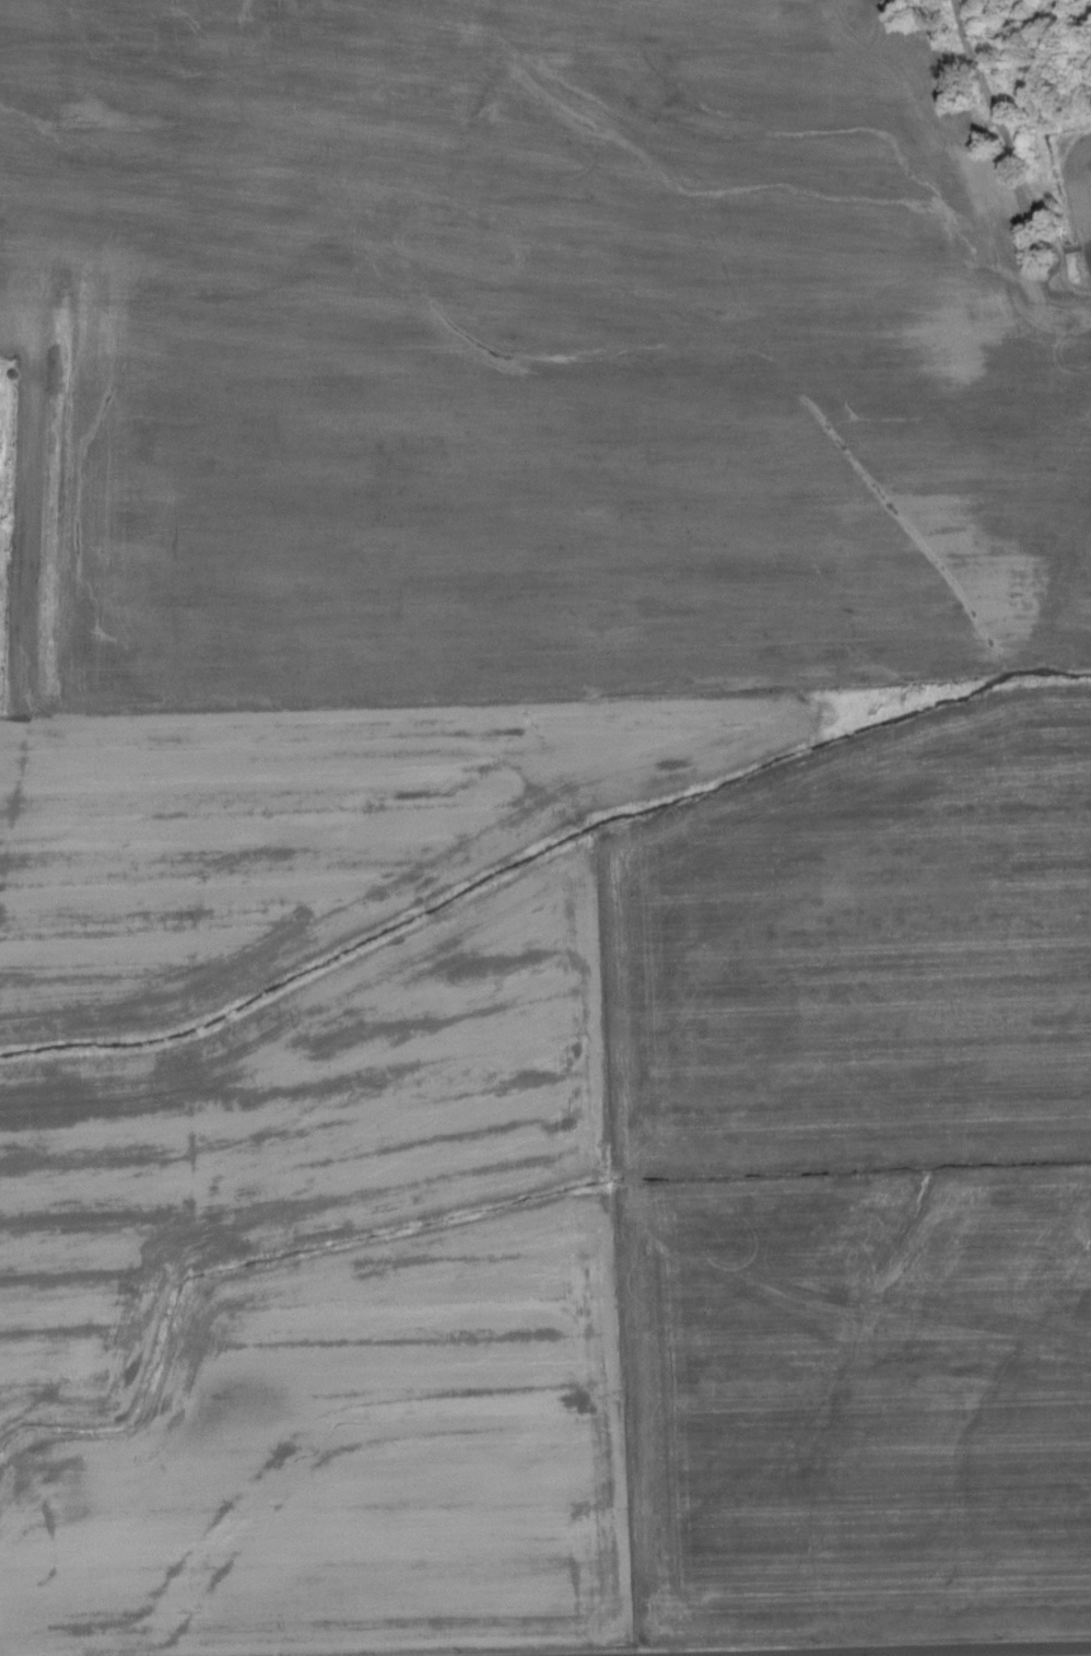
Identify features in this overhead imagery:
road: (1006, 1654)

